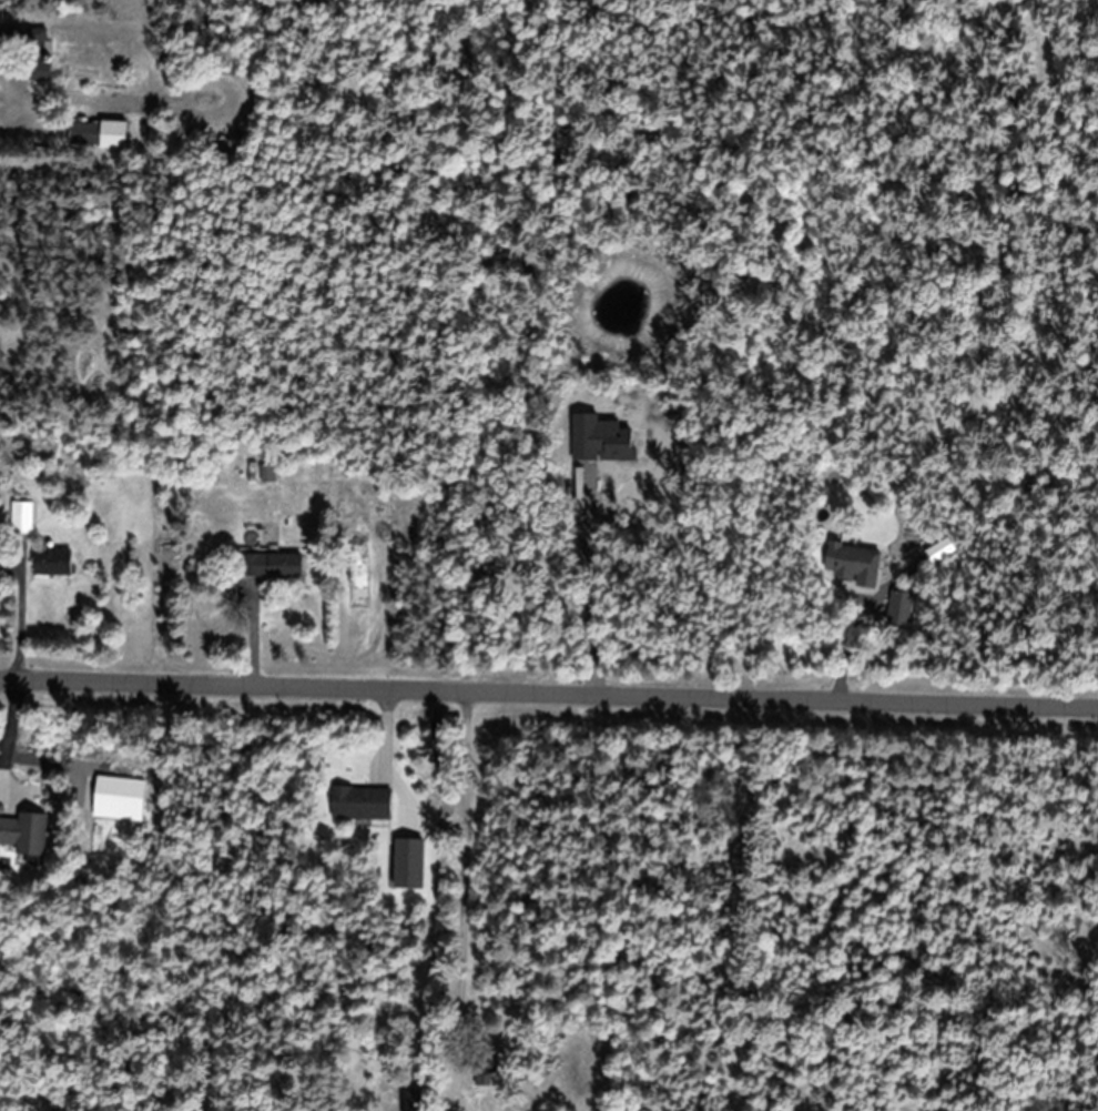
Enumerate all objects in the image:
building: (23, 53)
building: (96, 137)
building: (266, 474)
building: (21, 518)
building: (50, 563)
building: (850, 565)
building: (270, 566)
road: (549, 689)
building: (359, 804)
building: (24, 835)
building: (481, 1070)
building: (409, 1100)

